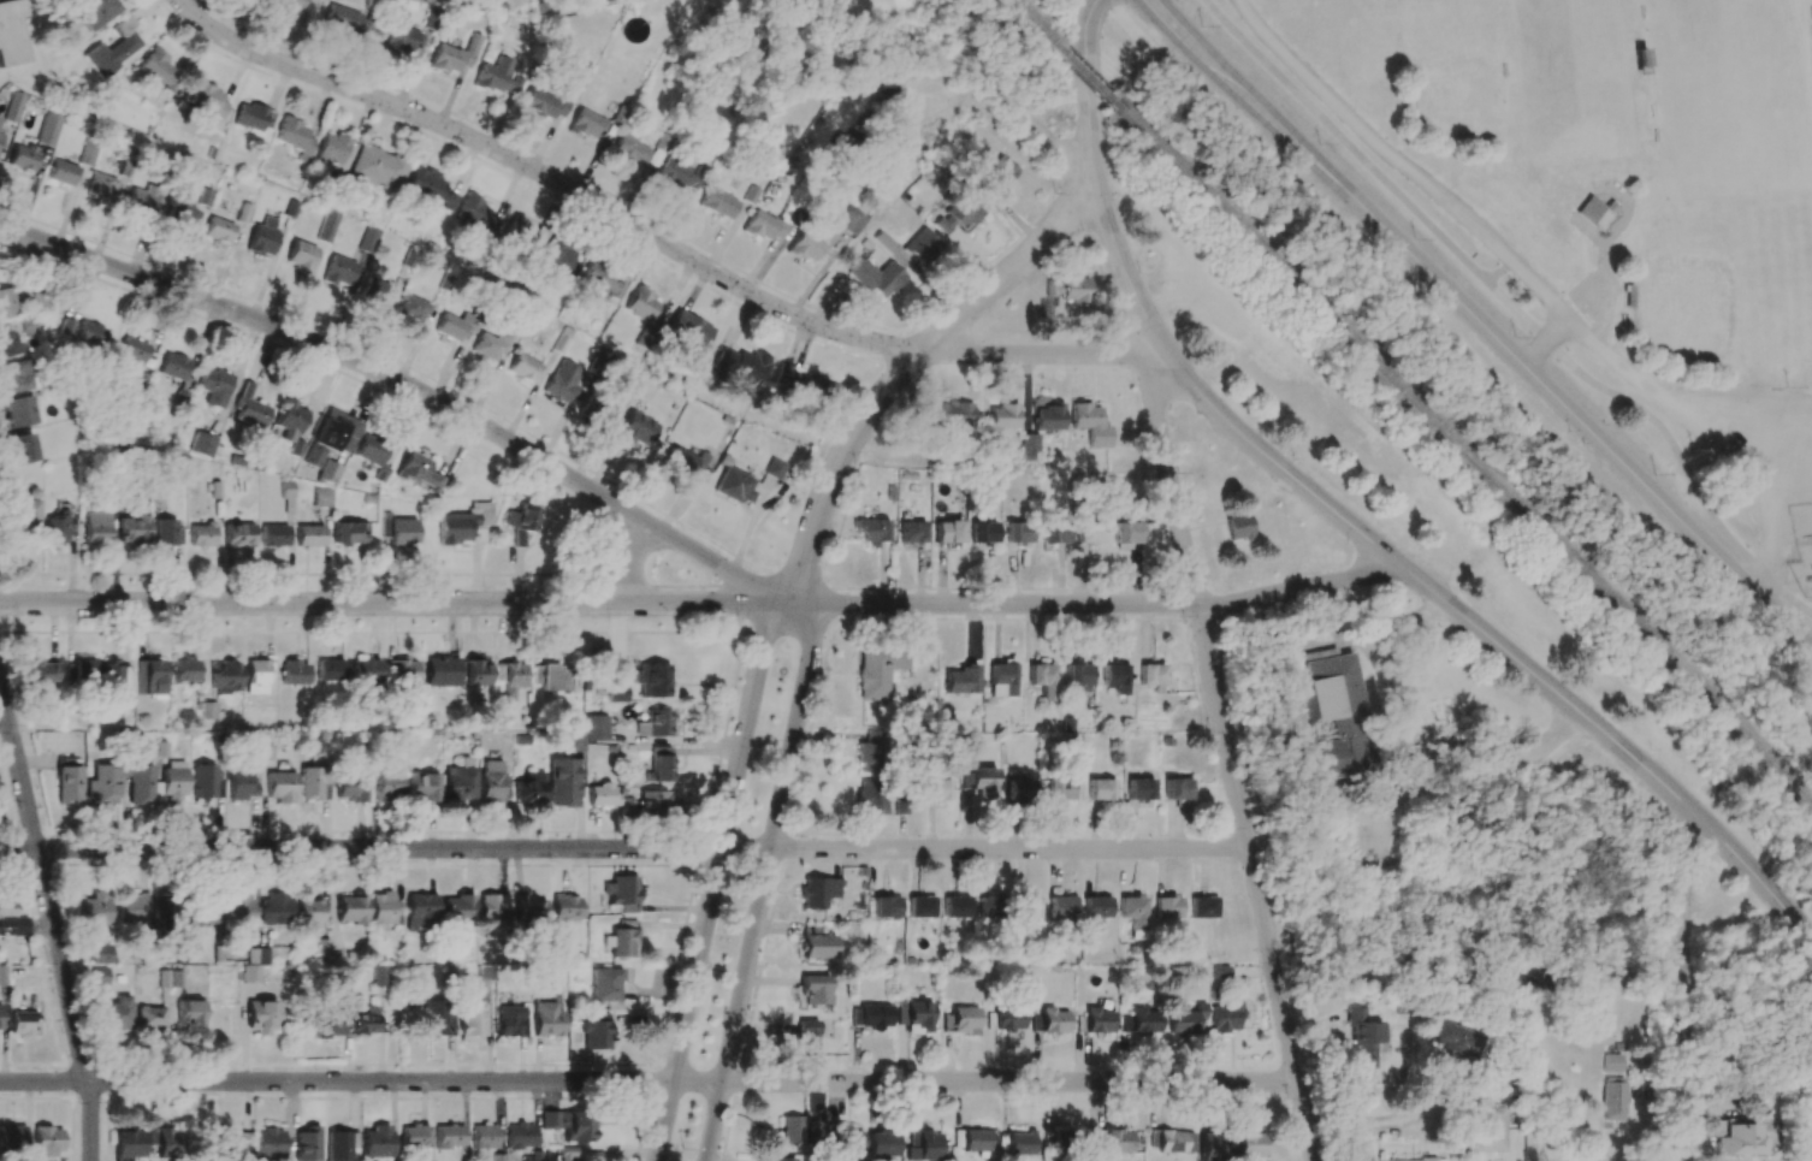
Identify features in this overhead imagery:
building: (286, 4)
building: (95, 12)
building: (349, 22)
railway: (1031, 24)
building: (11, 34)
building: (402, 38)
building: (113, 51)
building: (455, 55)
road: (930, 58)
building: (158, 70)
railway: (1083, 75)
building: (497, 76)
park: (1570, 81)
building: (205, 97)
park: (1735, 99)
building: (545, 103)
building: (14, 107)
building: (253, 117)
building: (586, 124)
building: (49, 129)
building: (294, 135)
building: (331, 148)
building: (658, 149)
building: (630, 150)
building: (88, 153)
building: (24, 158)
building: (378, 167)
building: (63, 172)
building: (677, 174)
building: (997, 174)
road: (551, 179)
road: (1094, 182)
building: (101, 185)
road: (1425, 185)
building: (428, 188)
building: (147, 200)
building: (718, 203)
building: (180, 212)
building: (1594, 212)
building: (476, 214)
building: (959, 214)
building: (849, 220)
building: (327, 226)
building: (763, 226)
building: (219, 230)
building: (519, 232)
building: (368, 239)
building: (261, 241)
building: (922, 245)
building: (805, 248)
building: (558, 254)
building: (301, 255)
building: (338, 271)
road: (1498, 272)
building: (876, 277)
building: (603, 280)
building: (1050, 286)
building: (1076, 290)
building: (375, 291)
building: (6, 303)
building: (641, 304)
road: (1512, 307)
park: (1682, 308)
building: (411, 310)
building: (452, 326)
road: (1479, 326)
building: (688, 330)
building: (82, 332)
building: (8, 343)
building: (490, 345)
building: (132, 350)
road: (1041, 354)
building: (740, 365)
building: (173, 366)
road: (907, 366)
building: (525, 368)
building: (14, 375)
building: (562, 381)
building: (804, 383)
road: (405, 385)
building: (214, 386)
building: (250, 408)
building: (19, 411)
building: (953, 414)
building: (1001, 417)
building: (1048, 417)
building: (289, 421)
building: (1090, 423)
building: (636, 430)
building: (332, 437)
road: (1716, 439)
building: (1030, 443)
building: (202, 444)
building: (23, 448)
building: (371, 450)
railway: (1464, 451)
building: (683, 461)
building: (775, 468)
building: (419, 470)
building: (330, 472)
building: (735, 486)
building: (285, 488)
building: (321, 497)
building: (521, 523)
building: (466, 525)
building: (1238, 526)
building: (96, 527)
building: (58, 528)
building: (134, 529)
building: (871, 529)
building: (399, 531)
building: (165, 532)
building: (912, 532)
building: (948, 532)
building: (983, 532)
building: (1054, 532)
building: (1088, 532)
building: (350, 533)
building: (1018, 533)
building: (201, 534)
building: (238, 535)
building: (274, 535)
building: (309, 535)
building: (1124, 535)
road: (634, 564)
railway: (1811, 568)
railway: (1810, 579)
road: (393, 604)
road: (1096, 605)
road: (1491, 640)
building: (184, 669)
building: (79, 670)
building: (331, 670)
building: (880, 670)
building: (402, 671)
building: (442, 671)
building: (41, 673)
building: (294, 673)
building: (366, 673)
building: (478, 673)
building: (1079, 676)
building: (150, 677)
building: (226, 677)
building: (256, 677)
building: (551, 677)
building: (1117, 677)
building: (1153, 677)
building: (510, 679)
building: (116, 680)
building: (652, 680)
building: (960, 680)
building: (1043, 680)
building: (616, 693)
building: (208, 710)
building: (1336, 716)
building: (655, 724)
building: (597, 728)
building: (574, 741)
building: (871, 752)
road: (1230, 759)
building: (661, 764)
building: (205, 781)
building: (457, 781)
building: (493, 782)
building: (562, 782)
building: (981, 782)
building: (67, 783)
building: (140, 783)
building: (313, 783)
building: (101, 784)
building: (173, 784)
building: (242, 786)
building: (280, 787)
building: (387, 787)
building: (422, 787)
building: (531, 788)
building: (350, 789)
building: (937, 789)
building: (1019, 789)
building: (1060, 789)
building: (1101, 789)
building: (1139, 789)
building: (1177, 789)
building: (602, 795)
building: (871, 796)
building: (647, 805)
road: (386, 849)
road: (1011, 851)
road: (711, 876)
road: (766, 879)
building: (818, 892)
building: (622, 893)
building: (922, 906)
building: (957, 906)
building: (1031, 906)
building: (565, 907)
building: (887, 907)
building: (990, 907)
building: (1097, 907)
building: (1167, 907)
building: (1202, 907)
building: (131, 908)
building: (238, 908)
building: (351, 908)
building: (457, 908)
building: (1062, 908)
building: (94, 910)
building: (277, 910)
building: (308, 910)
building: (384, 910)
building: (164, 911)
building: (493, 911)
building: (529, 911)
building: (1133, 911)
building: (421, 912)
building: (201, 914)
building: (5, 916)
road: (52, 923)
building: (622, 942)
building: (818, 943)
building: (100, 952)
building: (257, 955)
building: (250, 973)
building: (2, 975)
building: (99, 976)
building: (374, 977)
building: (606, 985)
building: (816, 989)
building: (116, 1013)
building: (189, 1013)
building: (0, 1015)
building: (871, 1015)
building: (149, 1017)
building: (261, 1017)
building: (916, 1017)
building: (437, 1018)
building: (546, 1018)
building: (1225, 1018)
building: (366, 1019)
building: (1009, 1019)
building: (1185, 1019)
building: (472, 1020)
building: (510, 1020)
building: (961, 1020)
building: (1050, 1020)
building: (1097, 1020)
building: (1141, 1021)
building: (24, 1023)
building: (328, 1024)
building: (596, 1031)
building: (806, 1035)
building: (1362, 1037)
building: (1453, 1041)
building: (1610, 1062)
road: (361, 1082)
road: (1009, 1083)
building: (1723, 1091)
building: (1612, 1098)
road: (1363, 1118)
building: (570, 1124)
building: (794, 1129)
building: (1487, 1129)
building: (415, 1136)
building: (449, 1136)
building: (484, 1136)
building: (520, 1136)
building: (1056, 1136)
building: (12, 1137)
building: (848, 1138)
building: (231, 1139)
building: (971, 1139)
building: (47, 1141)
building: (1118, 1141)
building: (1171, 1141)
building: (1740, 1141)
building: (165, 1142)
building: (268, 1142)
building: (377, 1142)
building: (1020, 1143)
building: (128, 1144)
building: (307, 1144)
building: (341, 1144)
building: (883, 1144)
building: (924, 1145)
building: (1250, 1145)
building: (1215, 1147)
building: (1804, 1151)
building: (568, 1154)
building: (497, 1157)
building: (784, 1160)
building: (1414, 1160)

